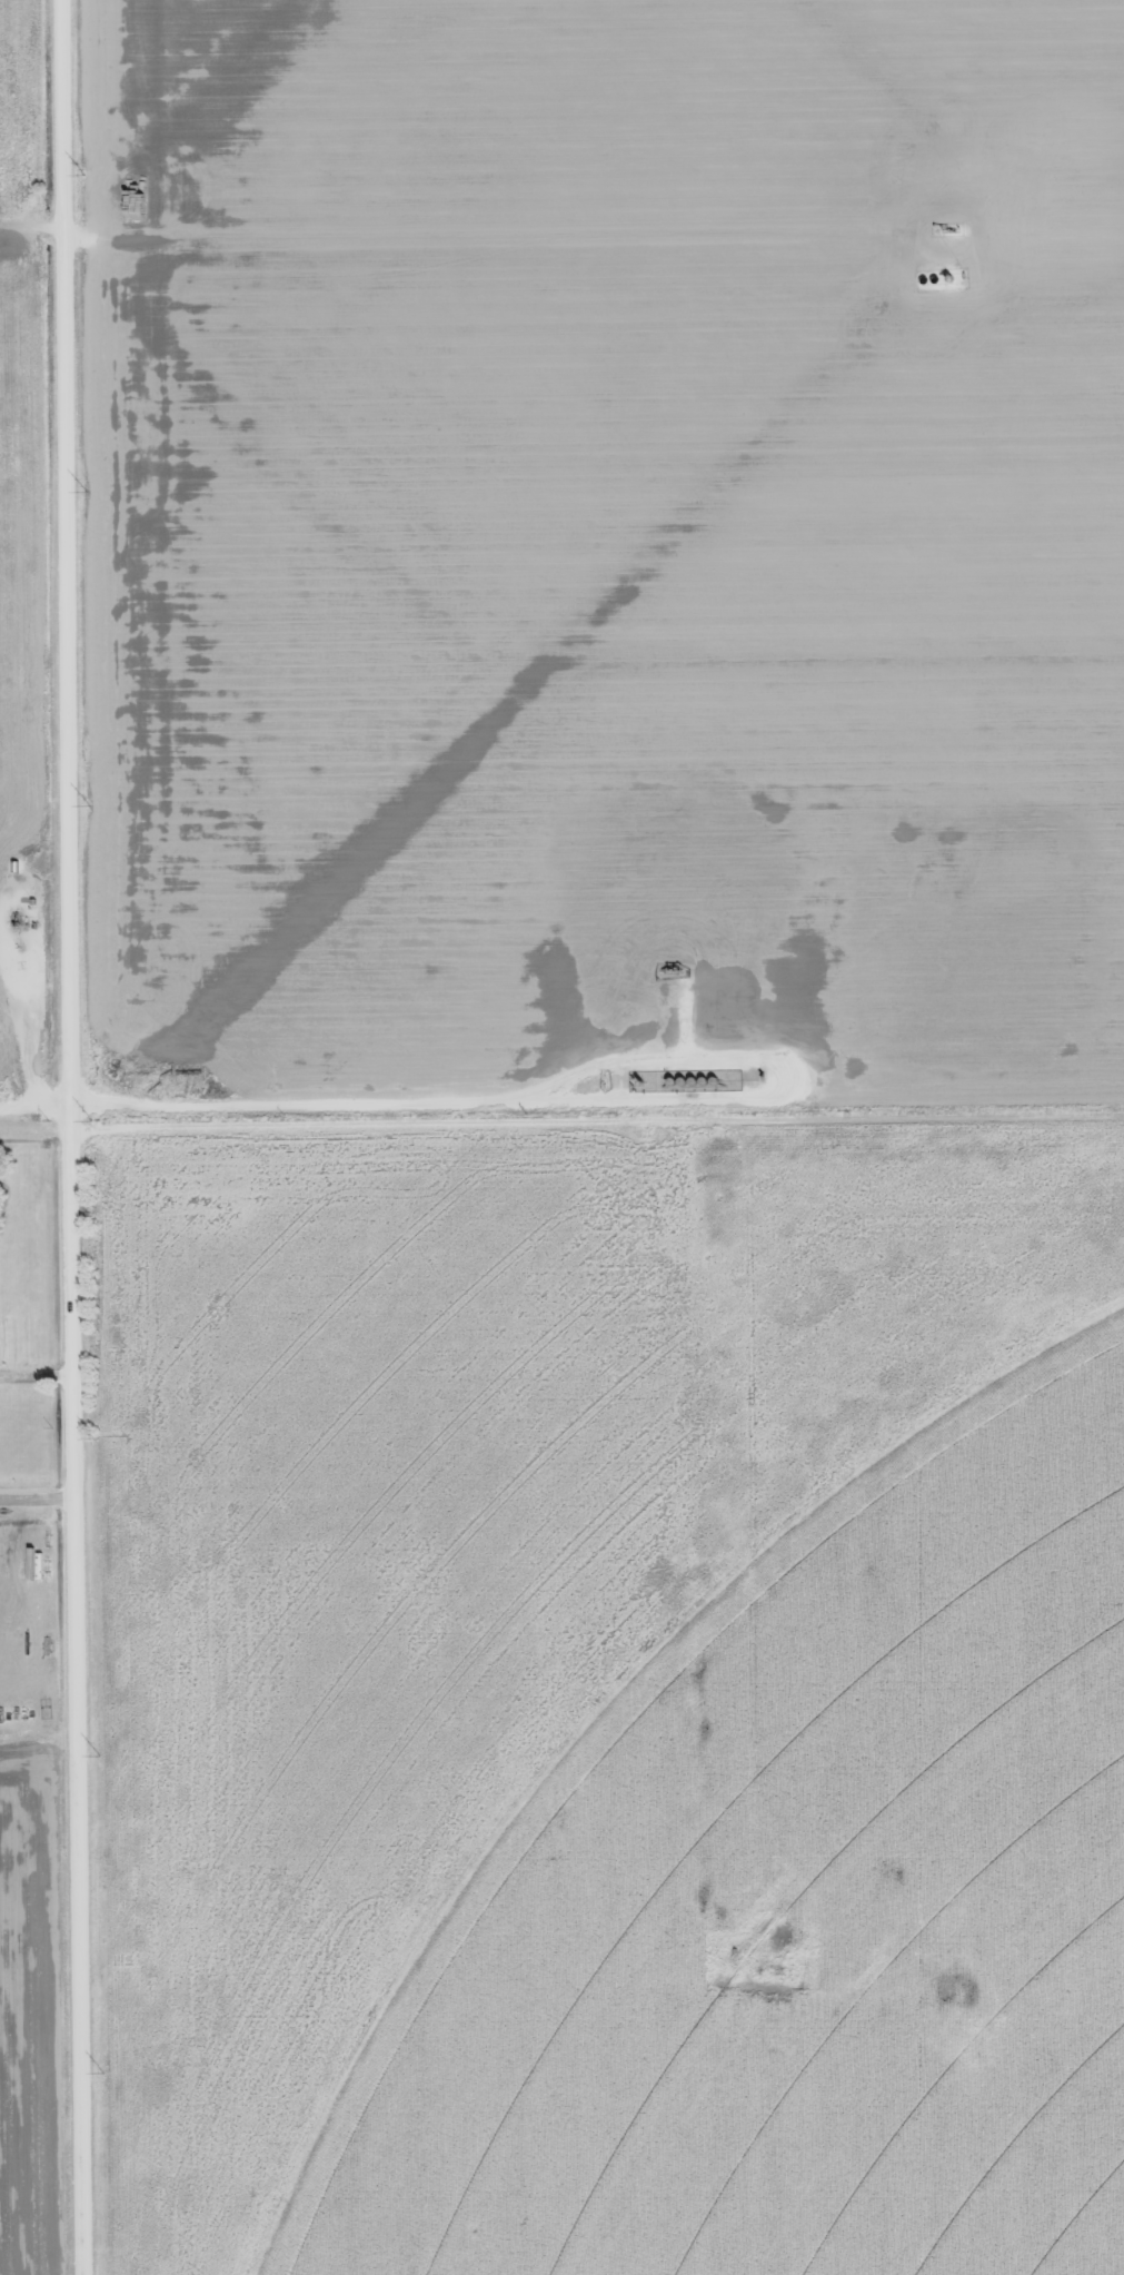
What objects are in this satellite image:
road: (73, 1137)
road: (37, 1242)

